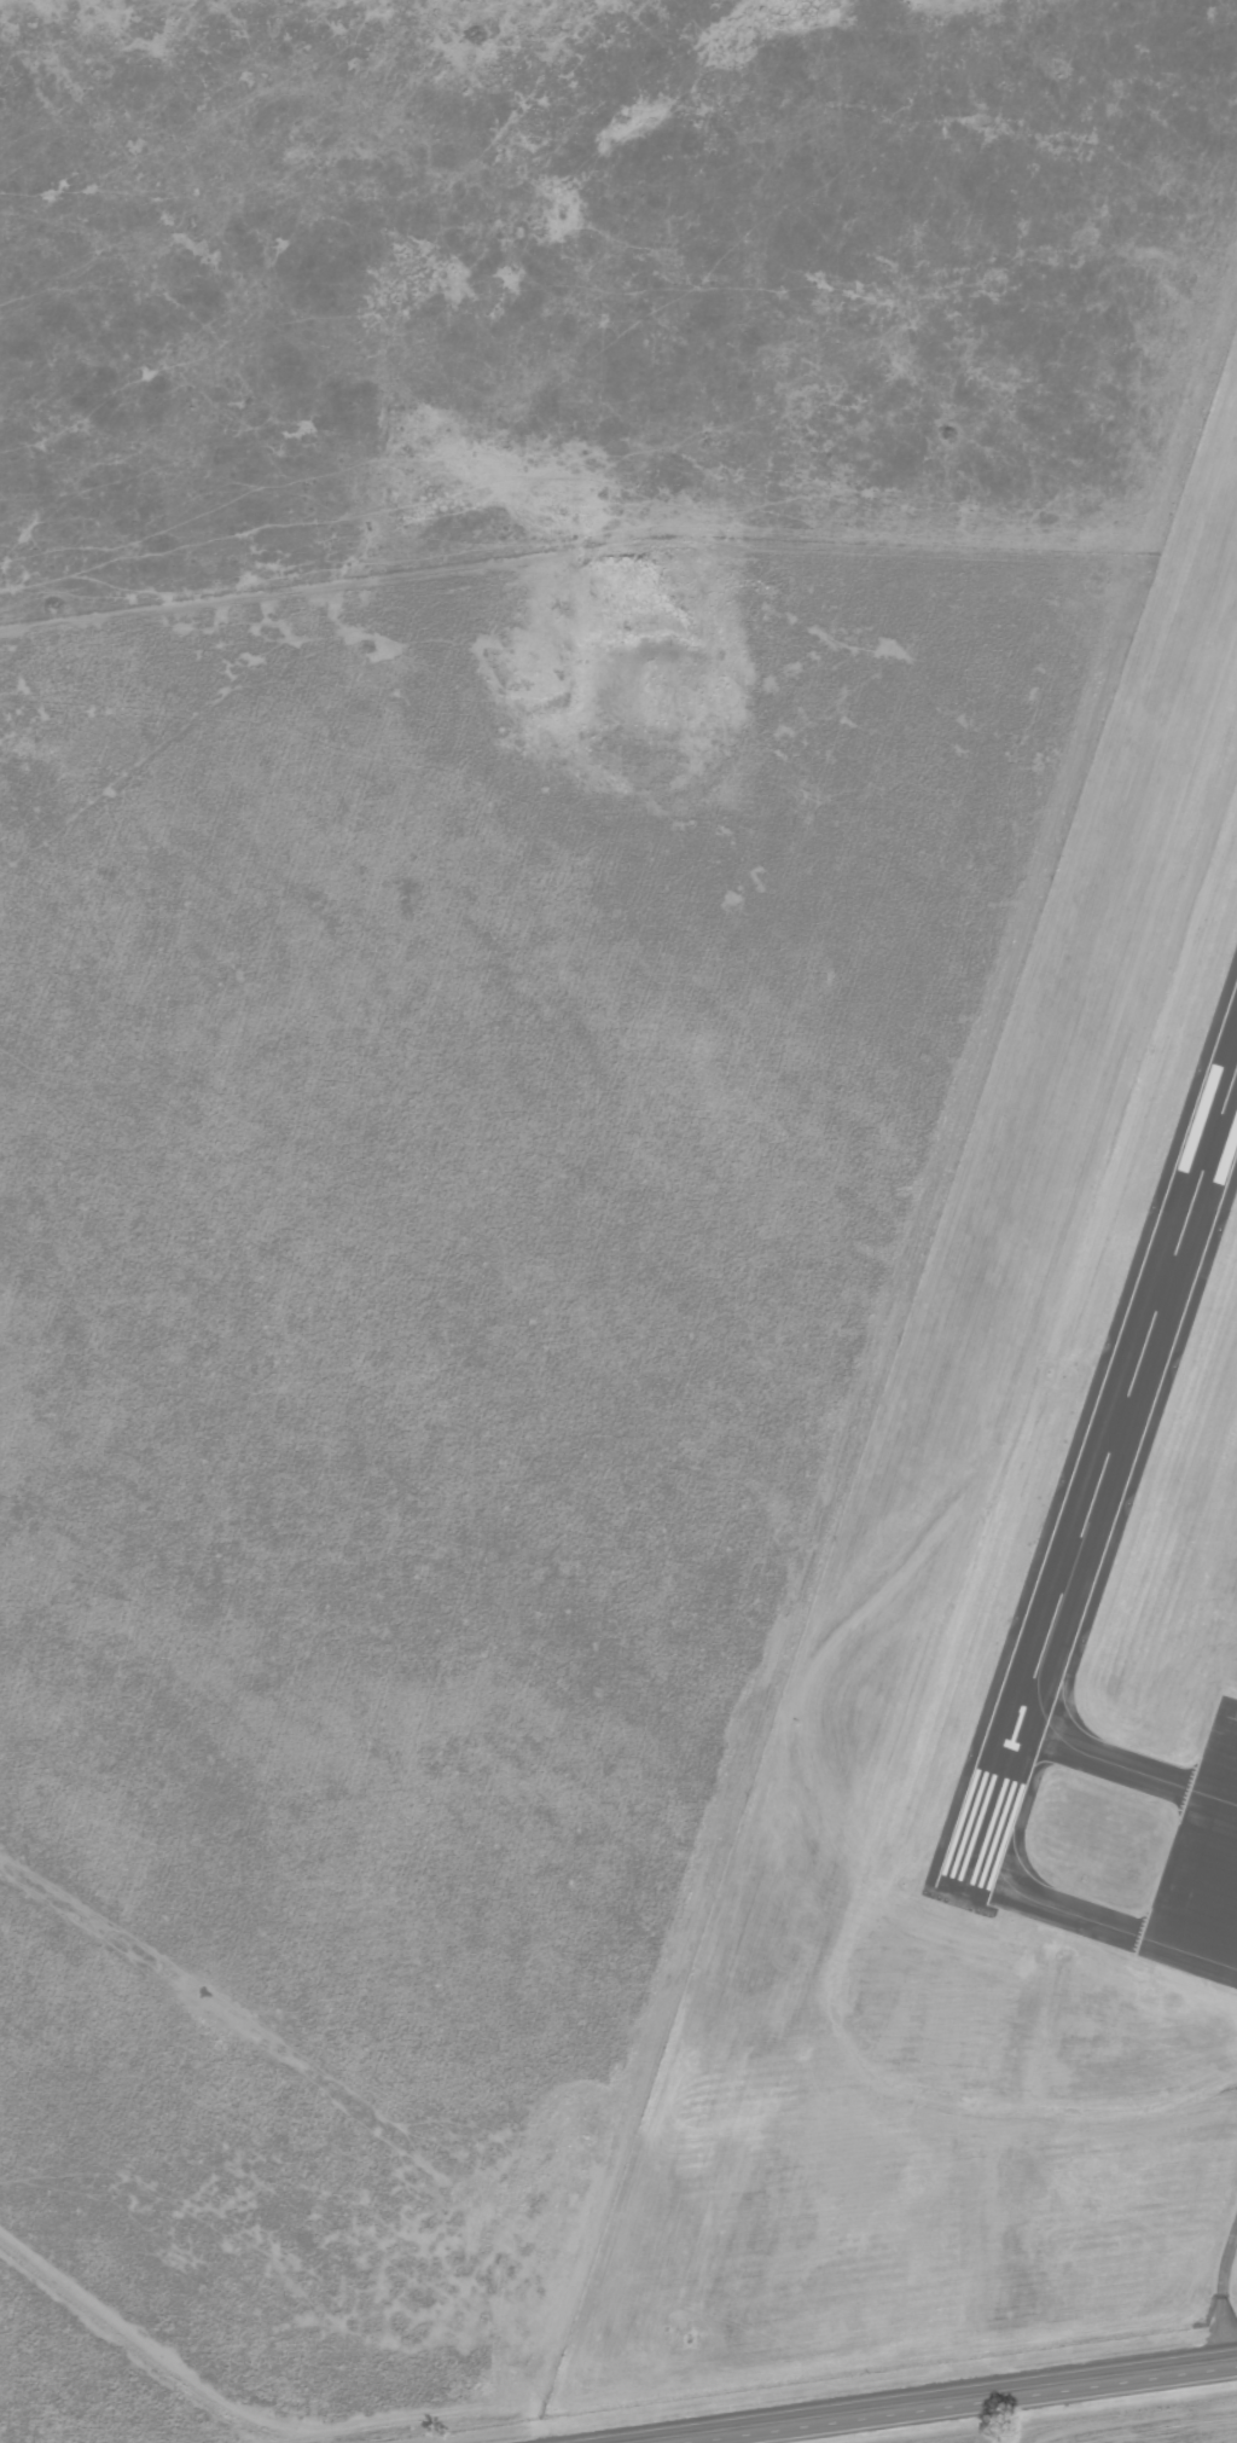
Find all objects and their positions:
airport runway: (1099, 1469)
airport: (1001, 1677)
airport taxiway: (1069, 1746)
airport apron: (1201, 1870)
airport taxiway: (1053, 1908)
road: (1189, 1952)
road: (1223, 2296)
road: (134, 2348)
road: (957, 2406)
road: (504, 2410)

